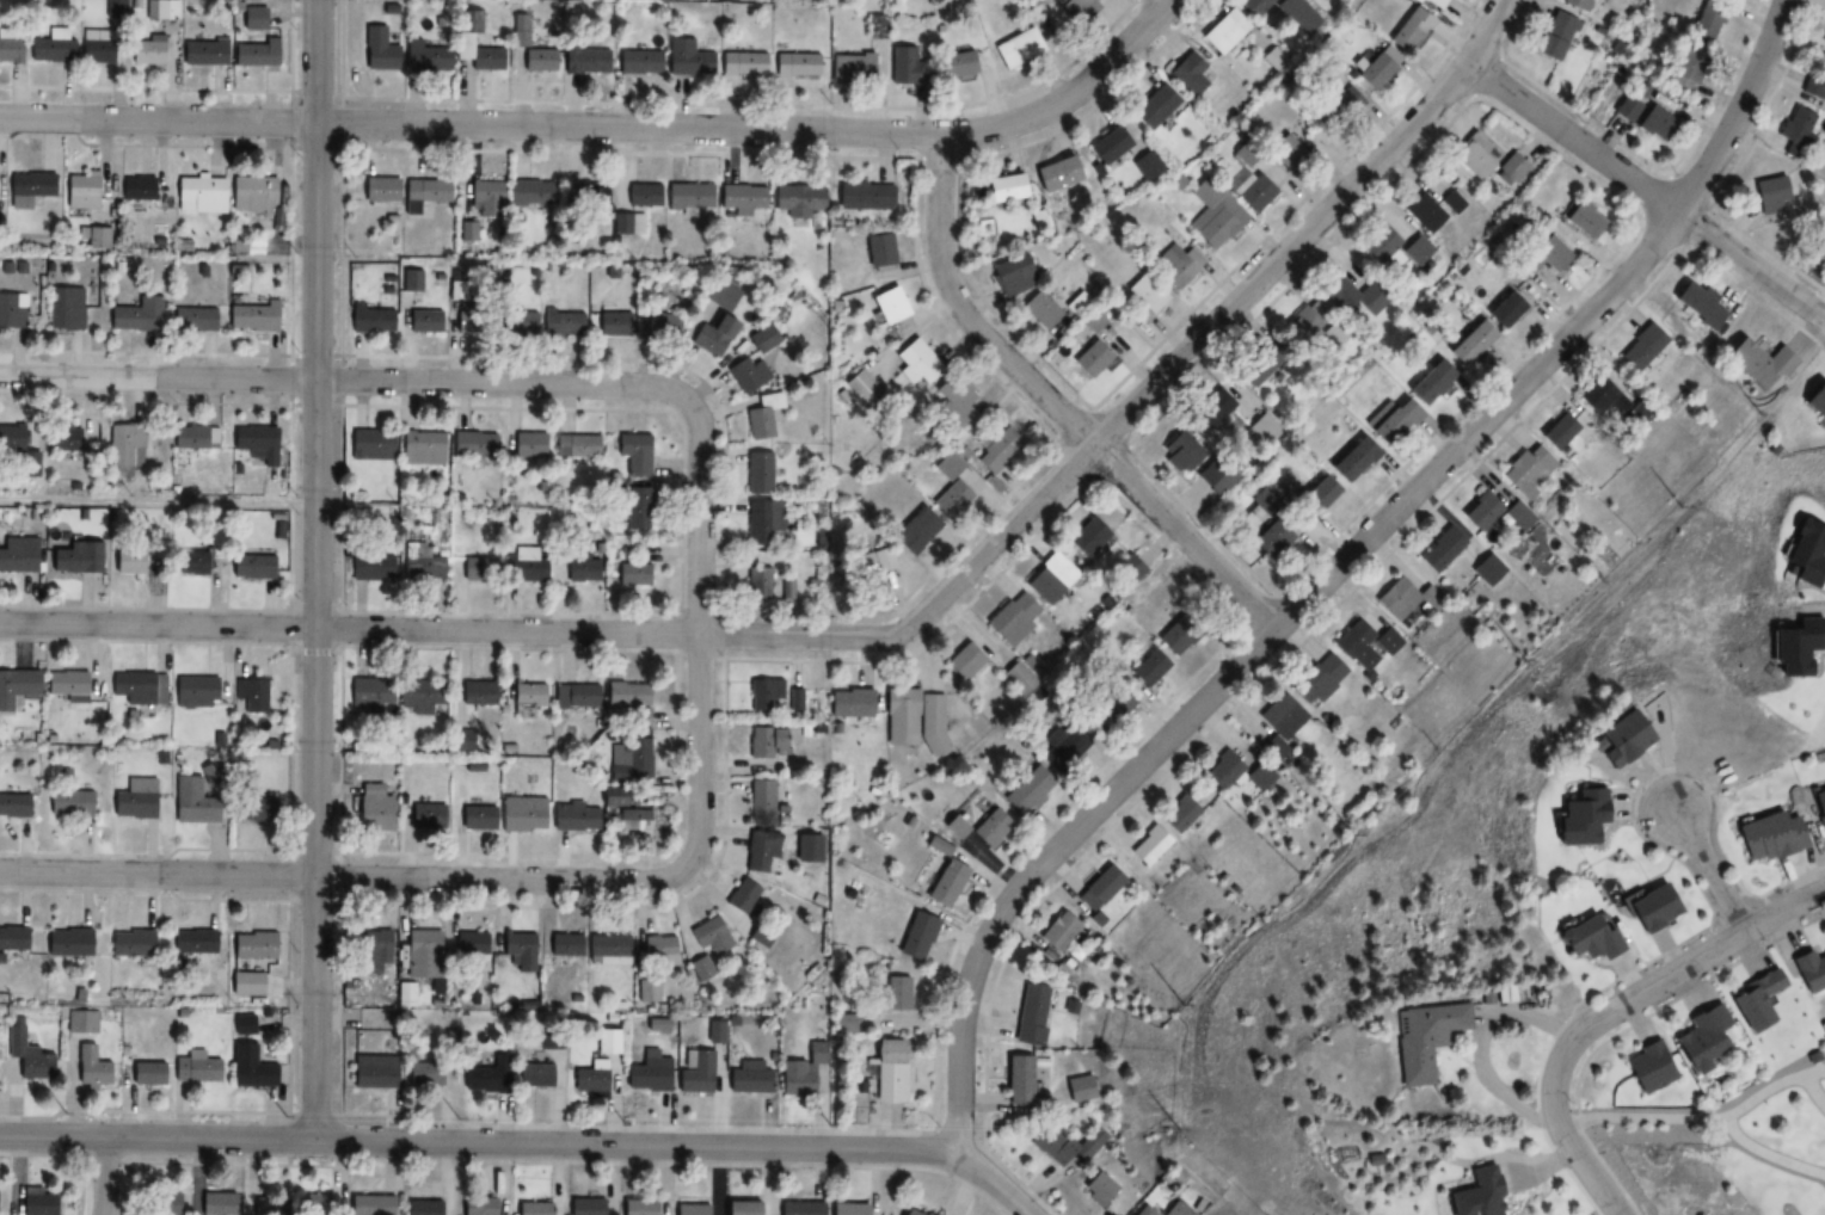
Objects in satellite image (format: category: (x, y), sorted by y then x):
road: (1166, 1)
building: (1433, 2)
building: (1578, 5)
building: (1254, 6)
building: (113, 10)
building: (160, 10)
building: (1075, 10)
building: (1299, 16)
building: (1706, 21)
building: (875, 27)
building: (1408, 30)
building: (1223, 32)
building: (1553, 36)
building: (1824, 39)
building: (96, 48)
building: (49, 49)
building: (1016, 49)
building: (8, 50)
building: (146, 50)
building: (377, 50)
building: (202, 53)
building: (252, 53)
building: (1272, 53)
building: (477, 55)
building: (425, 57)
building: (686, 58)
building: (537, 60)
building: (584, 60)
building: (638, 61)
building: (742, 63)
building: (797, 64)
building: (958, 64)
building: (903, 67)
building: (850, 68)
building: (1683, 68)
building: (1372, 72)
building: (1188, 74)
building: (1815, 79)
building: (1160, 105)
building: (1341, 107)
building: (1626, 109)
building: (1655, 124)
road: (608, 129)
building: (1798, 131)
building: (1107, 146)
building: (1475, 156)
building: (1145, 166)
building: (1511, 171)
building: (1055, 174)
building: (30, 189)
building: (137, 189)
building: (1003, 189)
building: (379, 190)
building: (1251, 190)
building: (82, 191)
road: (1647, 192)
building: (1770, 192)
building: (251, 193)
building: (424, 193)
building: (530, 193)
building: (198, 195)
building: (643, 196)
building: (688, 196)
building: (864, 196)
building: (484, 198)
building: (742, 198)
building: (798, 199)
building: (1452, 203)
building: (591, 205)
building: (1425, 214)
building: (1213, 215)
building: (1581, 220)
building: (1396, 240)
building: (878, 251)
building: (1820, 251)
building: (1543, 258)
building: (1174, 265)
building: (1013, 276)
building: (1145, 294)
building: (719, 295)
building: (1353, 296)
building: (1697, 304)
building: (887, 307)
building: (63, 308)
building: (11, 310)
building: (1039, 312)
building: (135, 316)
building: (250, 316)
building: (193, 320)
building: (370, 320)
building: (423, 321)
building: (516, 321)
building: (1090, 321)
building: (563, 322)
building: (614, 325)
building: (660, 325)
building: (1303, 327)
building: (1485, 328)
building: (713, 334)
building: (1334, 334)
building: (762, 339)
building: (1642, 349)
building: (1090, 359)
building: (909, 363)
building: (1759, 364)
building: (1255, 369)
building: (746, 374)
road: (158, 376)
road: (503, 383)
building: (1430, 383)
building: (864, 388)
building: (1600, 396)
building: (1815, 401)
building: (957, 403)
road: (1053, 406)
building: (1213, 408)
building: (762, 417)
building: (1390, 421)
building: (1264, 430)
building: (1559, 432)
building: (10, 438)
building: (193, 438)
building: (62, 439)
building: (252, 439)
building: (123, 443)
building: (474, 444)
building: (528, 445)
building: (369, 446)
building: (577, 446)
building: (422, 449)
building: (996, 451)
building: (633, 454)
building: (1352, 460)
building: (1529, 470)
building: (758, 473)
building: (950, 475)
building: (1213, 479)
building: (1320, 495)
road: (158, 504)
building: (635, 508)
building: (1481, 512)
building: (1520, 517)
building: (763, 522)
building: (915, 531)
building: (1087, 538)
building: (1268, 538)
building: (1443, 551)
building: (17, 556)
building: (75, 559)
building: (140, 562)
building: (252, 562)
building: (201, 563)
building: (422, 565)
road: (1338, 565)
building: (523, 566)
building: (866, 566)
building: (1487, 566)
building: (371, 567)
road: (315, 568)
building: (477, 569)
building: (578, 569)
building: (1130, 569)
building: (638, 574)
building: (1050, 579)
building: (758, 584)
building: (785, 588)
building: (1407, 599)
building: (1013, 618)
road: (889, 634)
road: (701, 635)
building: (1178, 635)
building: (1365, 646)
building: (964, 661)
building: (1147, 668)
building: (1019, 678)
building: (1317, 683)
building: (16, 686)
building: (66, 686)
building: (139, 689)
building: (195, 692)
building: (477, 693)
building: (763, 693)
building: (251, 695)
building: (370, 695)
building: (528, 695)
building: (626, 695)
building: (422, 697)
building: (574, 697)
building: (794, 701)
building: (1114, 702)
building: (849, 703)
building: (1283, 717)
building: (899, 718)
building: (933, 723)
building: (1616, 739)
building: (764, 742)
building: (1063, 750)
building: (627, 761)
building: (1223, 772)
building: (1261, 777)
building: (1024, 790)
building: (191, 797)
building: (610, 797)
building: (134, 800)
building: (761, 800)
building: (68, 803)
building: (12, 806)
building: (252, 808)
building: (373, 809)
building: (1819, 810)
building: (522, 815)
building: (1179, 815)
building: (475, 816)
building: (426, 818)
building: (1575, 818)
building: (573, 820)
building: (631, 820)
building: (988, 828)
building: (1770, 837)
building: (1150, 847)
building: (760, 851)
road: (1713, 872)
road: (344, 875)
building: (944, 883)
building: (1101, 888)
building: (742, 898)
building: (1652, 908)
road: (1788, 913)
building: (1058, 932)
building: (712, 937)
building: (916, 937)
building: (1589, 938)
building: (11, 939)
building: (195, 942)
building: (66, 943)
building: (130, 943)
building: (471, 943)
building: (252, 945)
building: (563, 945)
building: (520, 951)
building: (609, 951)
building: (373, 952)
building: (659, 952)
building: (423, 954)
building: (702, 969)
building: (1808, 973)
building: (245, 985)
building: (649, 991)
building: (897, 994)
building: (1755, 1001)
building: (1031, 1016)
building: (80, 1022)
road: (1577, 1035)
building: (1420, 1040)
building: (1701, 1040)
building: (607, 1043)
road: (1476, 1047)
building: (26, 1055)
building: (90, 1067)
building: (193, 1068)
building: (248, 1068)
building: (1646, 1068)
building: (889, 1072)
building: (145, 1073)
building: (371, 1073)
building: (647, 1073)
building: (805, 1073)
road: (1813, 1073)
building: (423, 1074)
building: (696, 1074)
building: (486, 1077)
building: (540, 1077)
building: (590, 1078)
building: (746, 1080)
building: (1018, 1083)
building: (1080, 1090)
road: (1813, 1092)
road: (1688, 1120)
road: (524, 1140)
building: (1050, 1146)
road: (80, 1176)
road: (105, 1176)
building: (1098, 1189)
building: (1474, 1195)
building: (35, 1203)
building: (162, 1203)
building: (216, 1204)
building: (314, 1204)
building: (370, 1205)
building: (479, 1205)
building: (270, 1207)
building: (586, 1207)
building: (639, 1207)
building: (423, 1208)
building: (534, 1209)
building: (741, 1209)
building: (800, 1209)
building: (848, 1209)
building: (1179, 1209)
building: (692, 1210)
building: (1144, 1211)
building: (909, 1213)

